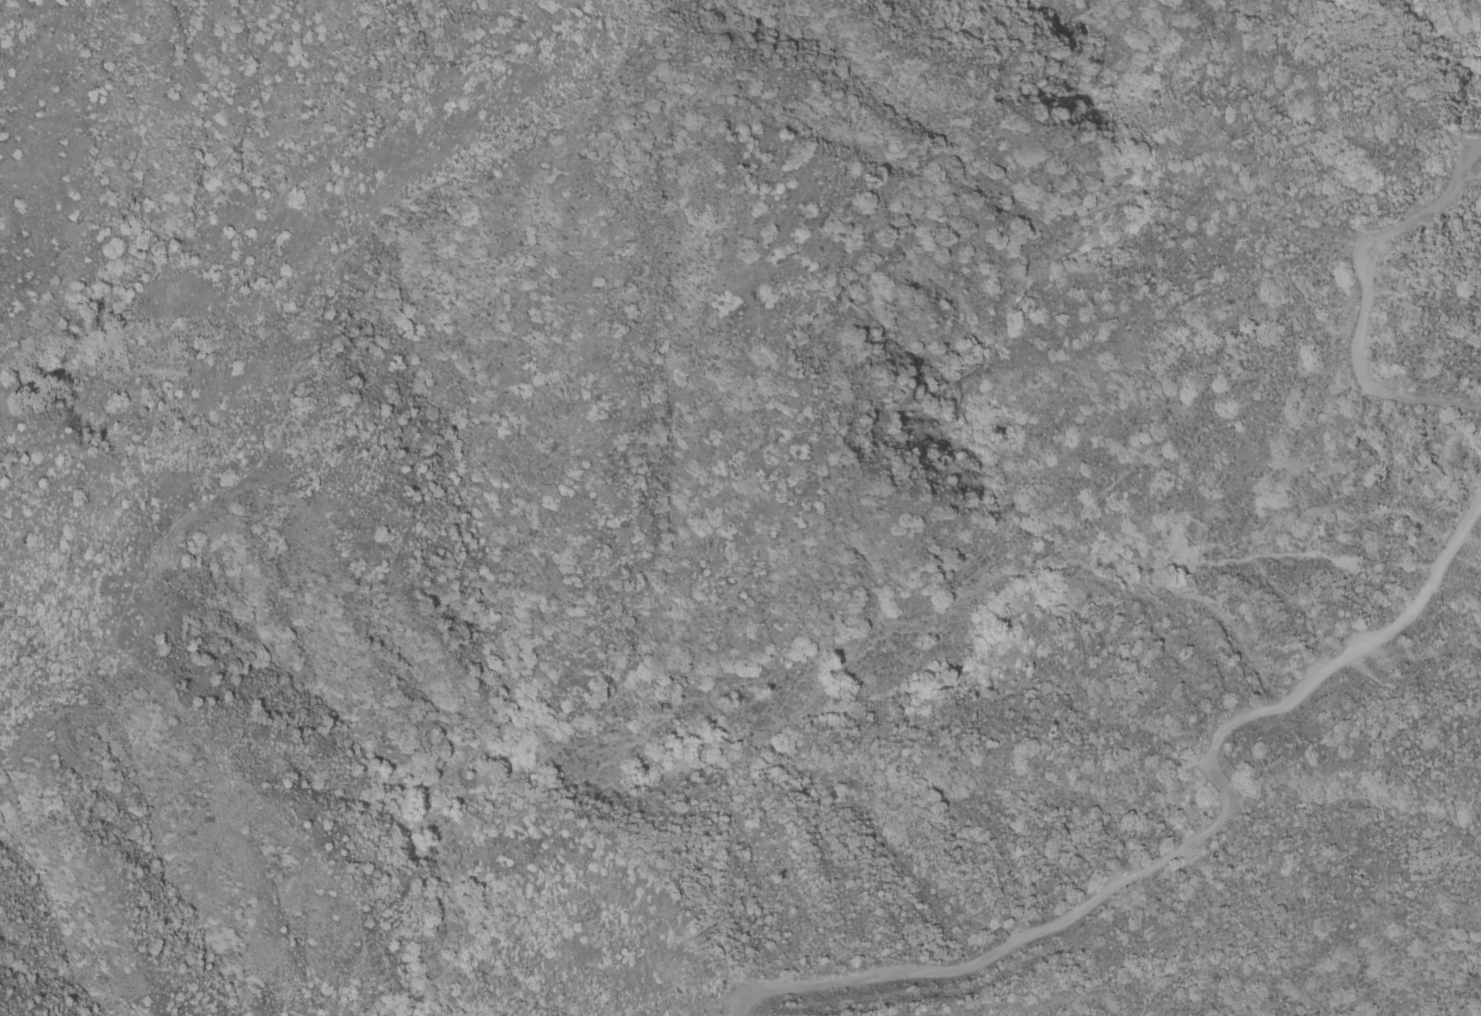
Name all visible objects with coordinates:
power tower: (1403, 263)
road: (1360, 293)
road: (1189, 842)
power tower: (705, 938)

